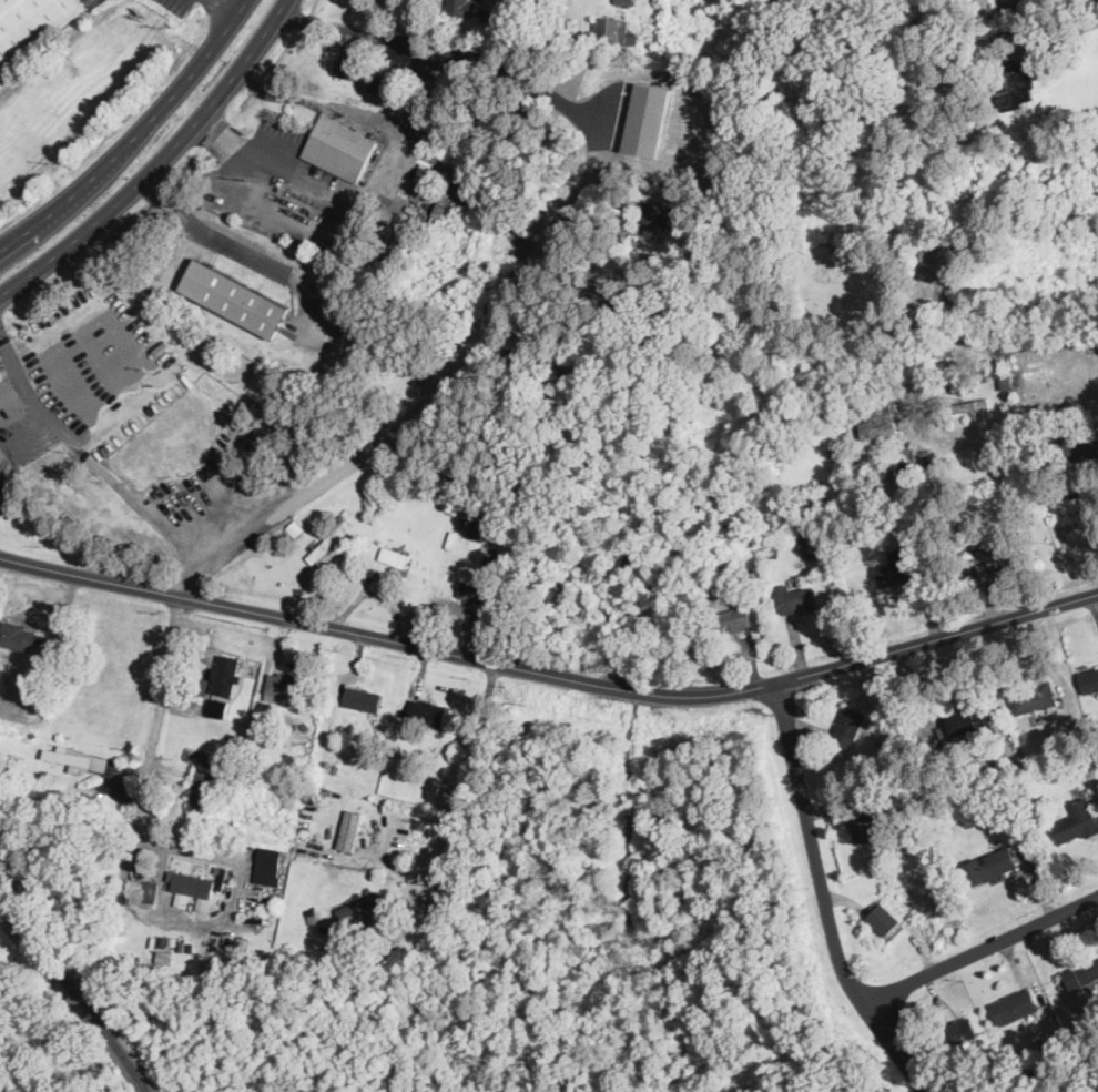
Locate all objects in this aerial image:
road: (230, 4)
building: (460, 7)
road: (1082, 23)
building: (31, 24)
road: (352, 28)
building: (612, 31)
road: (990, 49)
building: (349, 60)
building: (1014, 83)
building: (384, 84)
road: (532, 84)
road: (316, 101)
building: (648, 119)
road: (134, 136)
building: (339, 146)
road: (440, 159)
road: (159, 161)
building: (419, 170)
building: (659, 219)
road: (319, 232)
road: (235, 234)
building: (399, 250)
building: (936, 263)
building: (237, 297)
building: (1019, 347)
building: (956, 377)
building: (1006, 382)
building: (973, 405)
road: (421, 414)
building: (877, 421)
building: (263, 429)
building: (1085, 445)
building: (258, 446)
road: (91, 457)
building: (1000, 466)
building: (6, 488)
building: (477, 526)
building: (295, 527)
building: (326, 543)
building: (811, 543)
building: (395, 556)
building: (996, 557)
building: (897, 569)
building: (472, 590)
building: (795, 598)
building: (734, 619)
road: (307, 621)
building: (21, 635)
road: (875, 655)
building: (226, 674)
building: (1089, 680)
building: (285, 685)
road: (632, 689)
building: (1034, 697)
building: (363, 698)
building: (217, 706)
building: (428, 711)
building: (966, 720)
building: (848, 725)
building: (78, 757)
road: (468, 768)
building: (200, 787)
road: (138, 821)
building: (1076, 822)
building: (862, 827)
building: (349, 828)
road: (221, 856)
building: (990, 863)
building: (268, 865)
road: (385, 867)
road: (162, 881)
building: (192, 888)
building: (149, 890)
road: (824, 898)
building: (359, 903)
building: (883, 919)
road: (979, 949)
building: (1081, 972)
railway: (80, 995)
building: (1015, 1004)
building: (959, 1032)

